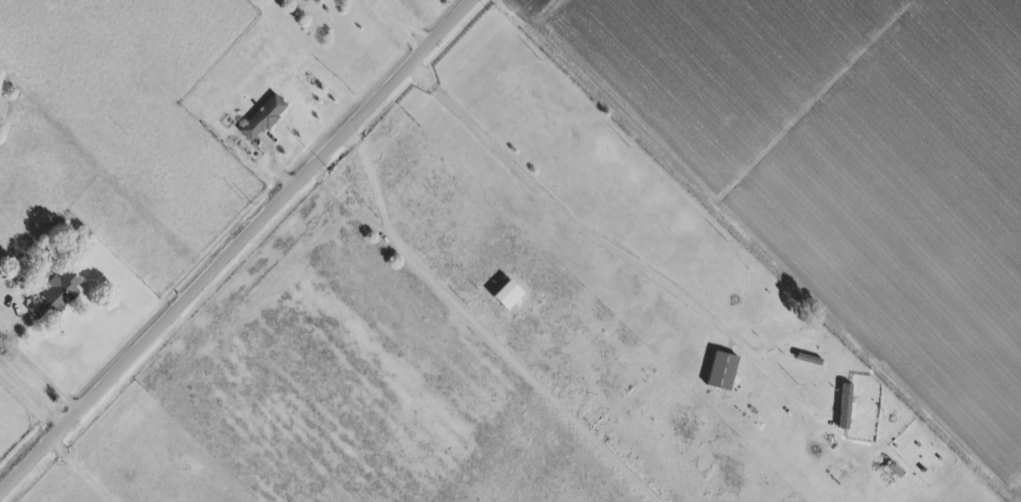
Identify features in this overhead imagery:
road: (405, 22)
building: (263, 117)
road: (367, 170)
road: (560, 218)
road: (235, 246)
building: (55, 293)
building: (509, 294)
road: (493, 327)
building: (723, 370)
road: (39, 372)
road: (32, 396)
building: (846, 405)
building: (895, 467)
road: (77, 473)

